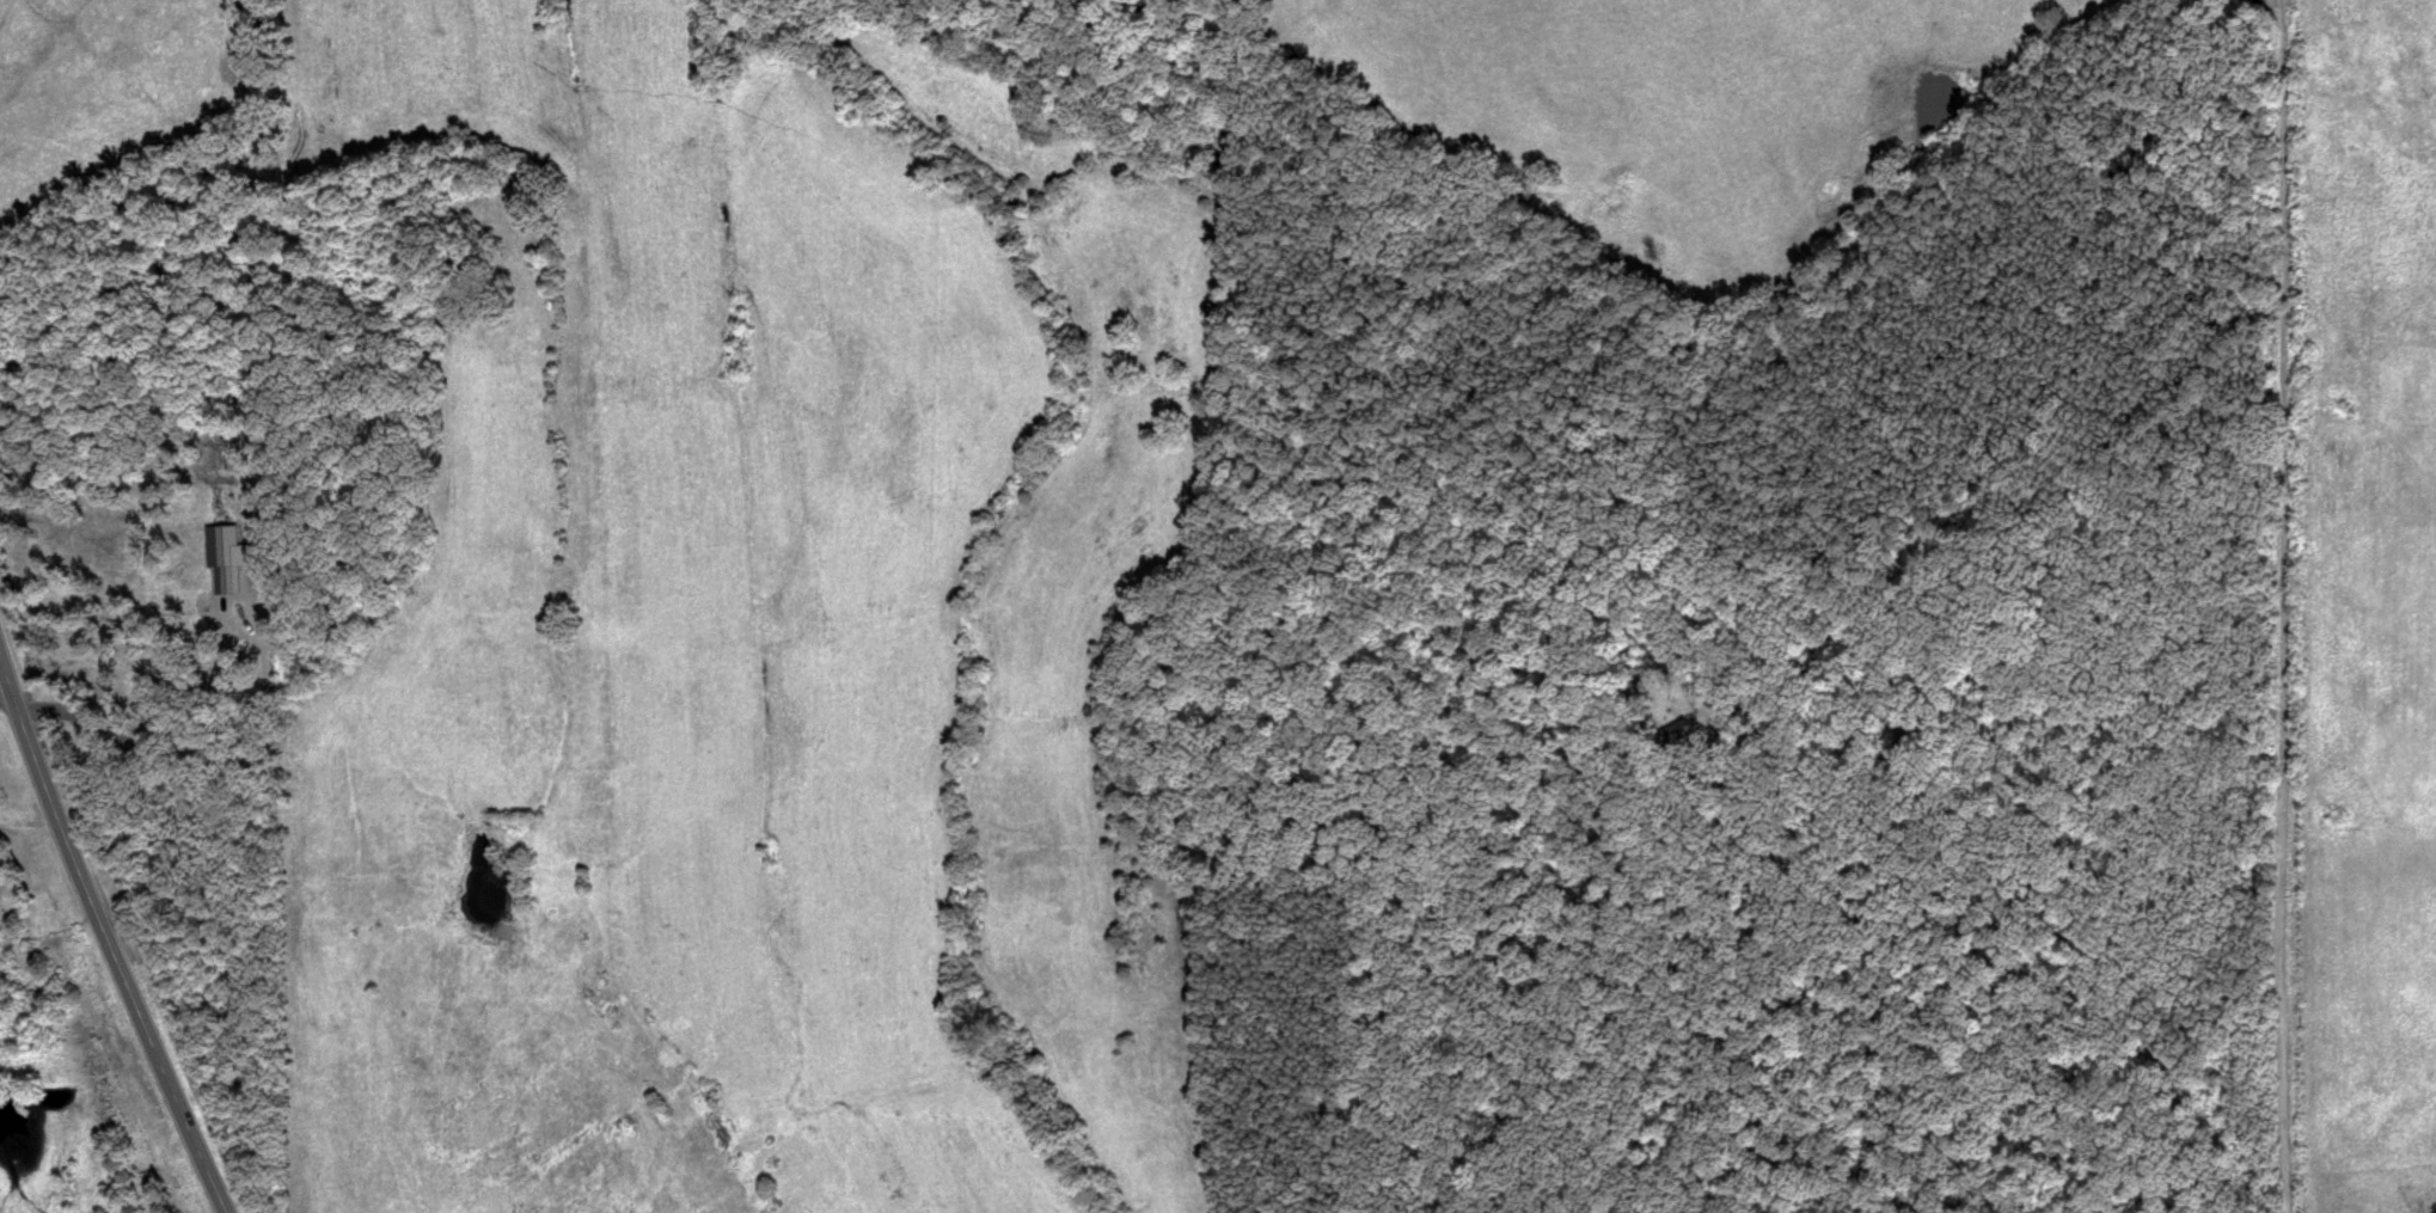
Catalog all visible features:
road: (2303, 606)
road: (7, 699)
road: (103, 936)
building: (18, 952)

